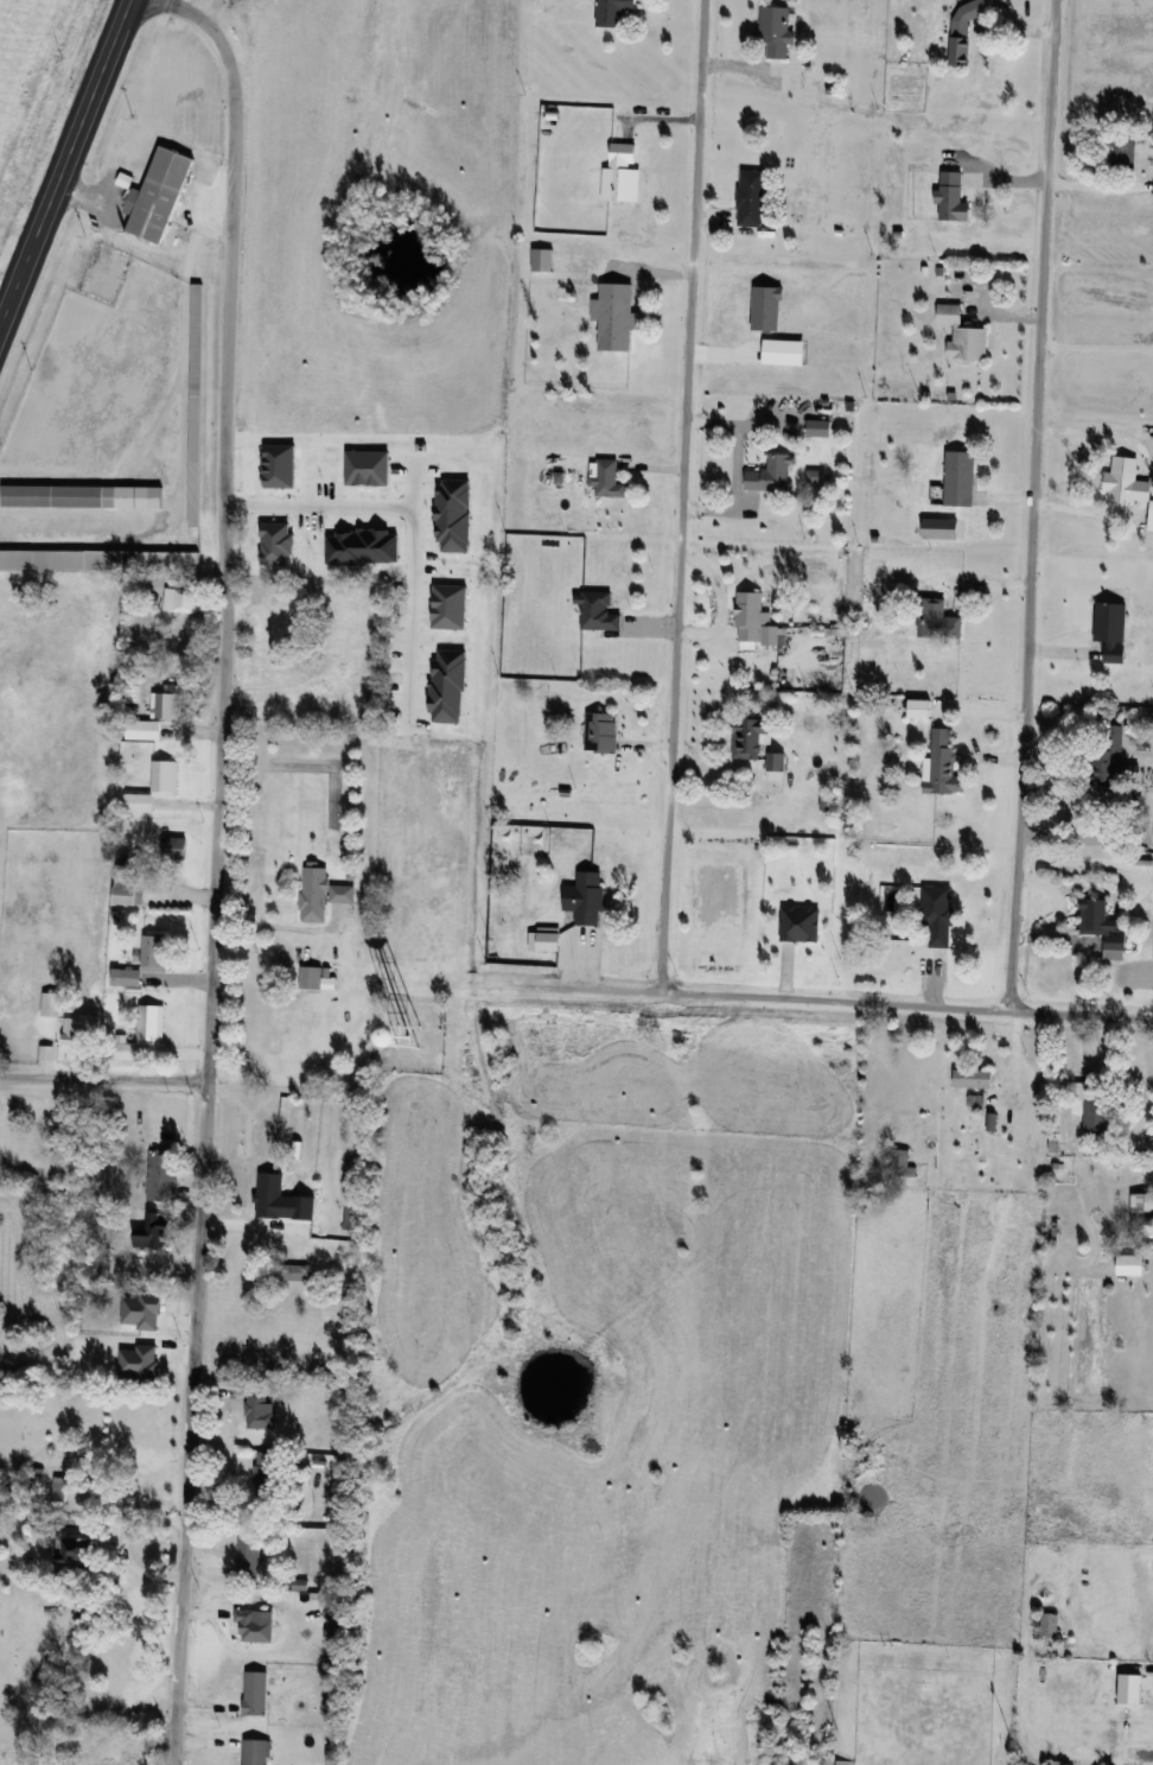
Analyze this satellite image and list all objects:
building: (969, 11)
building: (613, 12)
building: (776, 31)
building: (961, 49)
building: (1120, 151)
road: (63, 158)
building: (622, 173)
road: (1100, 185)
building: (159, 193)
building: (953, 196)
building: (751, 197)
building: (542, 259)
building: (614, 315)
building: (963, 334)
road: (1097, 345)
road: (176, 351)
building: (195, 404)
building: (818, 427)
road: (737, 465)
building: (771, 474)
building: (960, 477)
road: (1139, 477)
building: (607, 478)
building: (1120, 488)
building: (58, 496)
road: (682, 496)
road: (1033, 504)
road: (408, 514)
building: (1151, 515)
building: (941, 527)
building: (100, 558)
road: (725, 598)
building: (181, 599)
building: (867, 603)
building: (598, 611)
building: (754, 620)
building: (937, 620)
building: (1111, 629)
building: (166, 705)
building: (919, 709)
building: (134, 730)
building: (601, 731)
building: (750, 737)
building: (1114, 758)
building: (776, 761)
building: (943, 763)
building: (12, 781)
building: (154, 787)
building: (174, 847)
road: (216, 868)
building: (128, 889)
building: (323, 899)
building: (590, 899)
building: (938, 916)
building: (800, 923)
building: (1103, 927)
building: (147, 959)
building: (311, 978)
road: (906, 1004)
building: (51, 1005)
building: (81, 1030)
building: (144, 1031)
road: (103, 1078)
building: (973, 1078)
building: (976, 1104)
building: (1091, 1107)
building: (900, 1163)
building: (163, 1173)
building: (269, 1195)
building: (1141, 1207)
building: (352, 1219)
building: (153, 1233)
building: (1130, 1262)
building: (293, 1271)
building: (153, 1303)
building: (107, 1321)
building: (260, 1409)
building: (268, 1474)
building: (33, 1480)
building: (59, 1488)
building: (77, 1555)
building: (247, 1557)
building: (1050, 1624)
building: (253, 1626)
building: (256, 1691)
building: (256, 1751)

